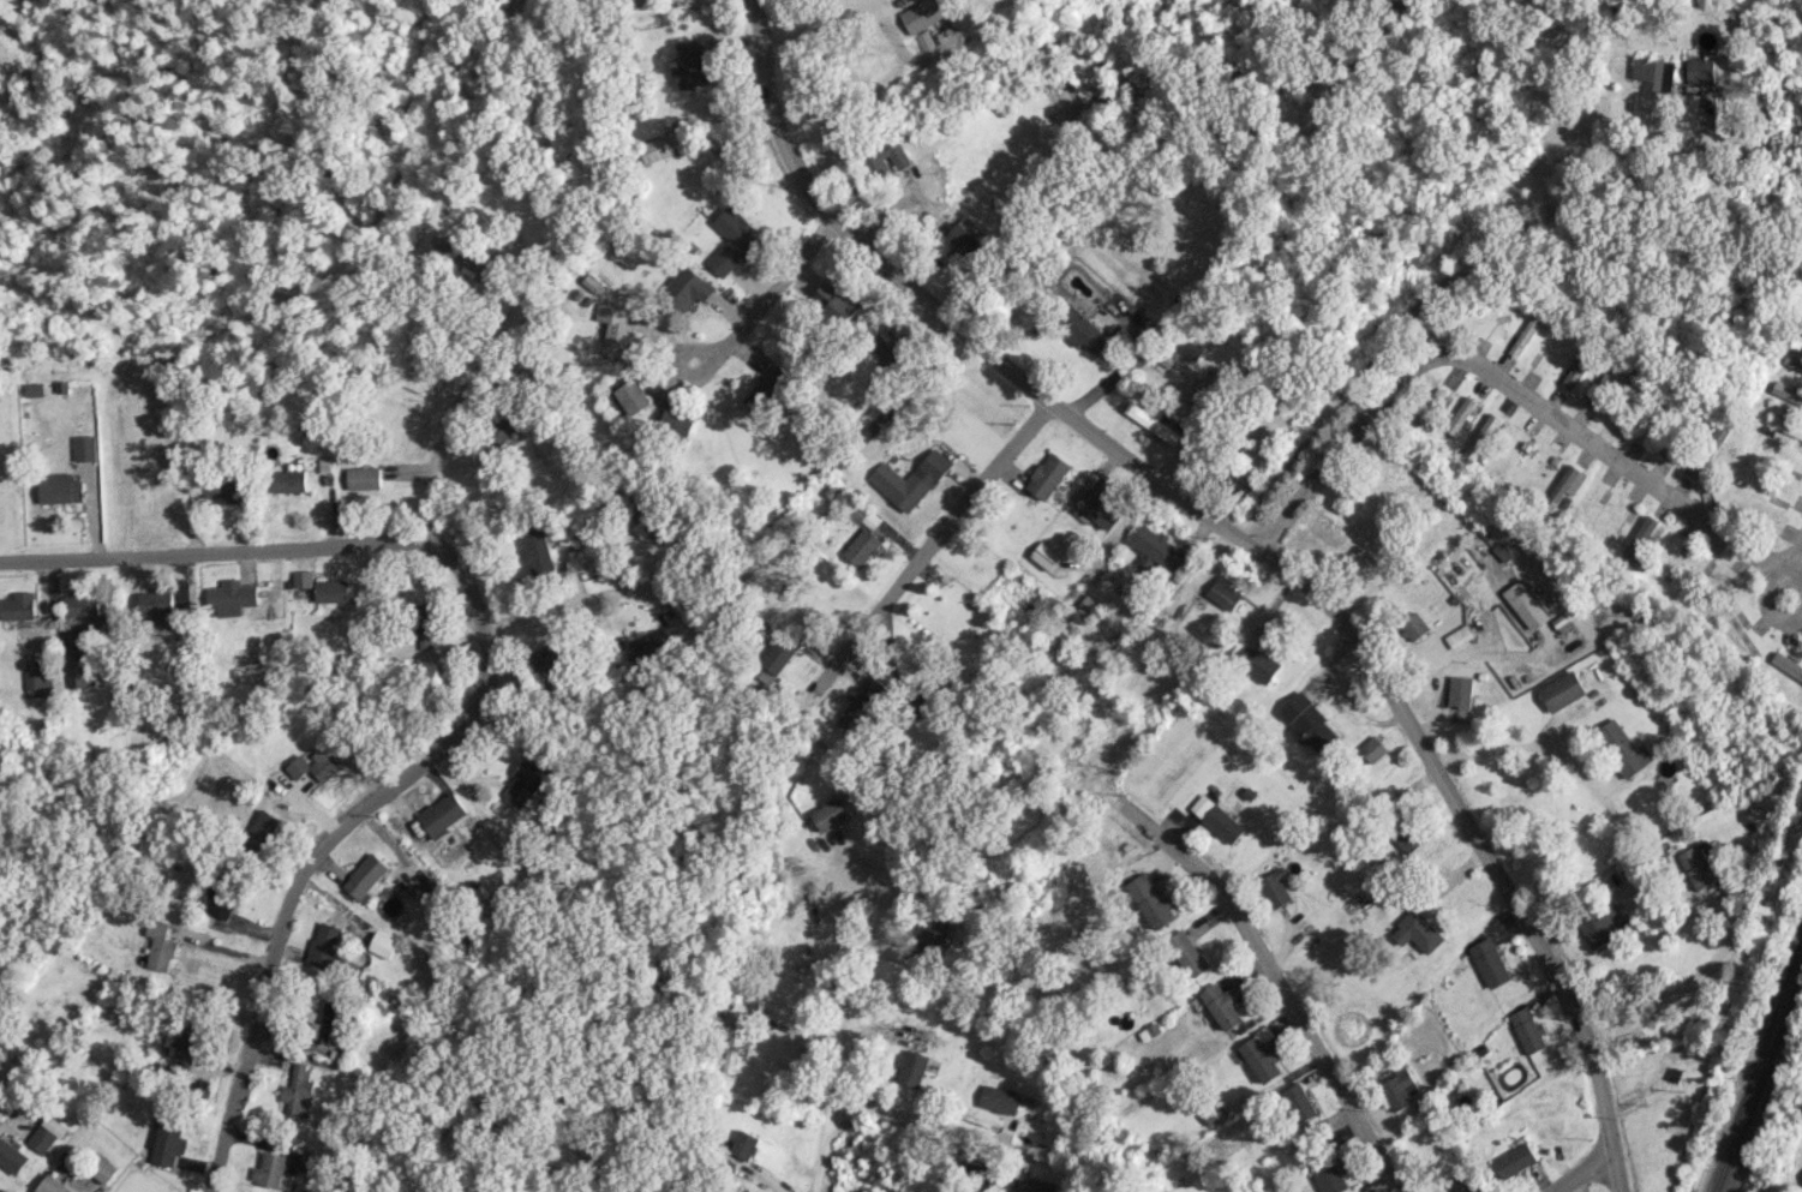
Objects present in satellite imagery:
building: (922, 14)
building: (923, 38)
building: (693, 65)
building: (1700, 71)
building: (1653, 73)
building: (886, 158)
building: (731, 240)
building: (963, 240)
building: (459, 257)
road: (1450, 278)
building: (688, 288)
building: (833, 301)
road: (728, 304)
building: (1078, 328)
building: (615, 329)
building: (1527, 333)
building: (885, 343)
building: (1792, 360)
road: (1120, 367)
building: (1579, 367)
building: (414, 378)
road: (1501, 379)
building: (1604, 385)
building: (34, 389)
building: (767, 390)
building: (1786, 393)
building: (631, 397)
building: (1430, 405)
road: (448, 409)
building: (1459, 415)
building: (1150, 419)
building: (677, 421)
building: (1784, 425)
building: (503, 429)
building: (1480, 436)
building: (84, 447)
building: (1047, 475)
building: (365, 478)
building: (910, 479)
building: (289, 480)
building: (1235, 484)
building: (1563, 485)
building: (59, 487)
building: (228, 489)
building: (1100, 507)
building: (646, 520)
road: (941, 540)
building: (1640, 541)
road: (1246, 543)
building: (863, 546)
building: (1159, 547)
building: (538, 550)
building: (1043, 555)
road: (1792, 555)
road: (1764, 588)
building: (333, 589)
building: (1226, 593)
building: (232, 597)
road: (588, 599)
building: (1525, 604)
building: (18, 605)
building: (83, 606)
building: (157, 610)
building: (424, 624)
building: (1414, 625)
building: (1459, 635)
building: (653, 643)
building: (778, 655)
building: (553, 657)
building: (1256, 661)
building: (1786, 665)
building: (76, 673)
building: (37, 682)
road: (483, 689)
building: (1562, 690)
building: (1460, 691)
building: (861, 705)
building: (1311, 724)
road: (1521, 744)
building: (1371, 748)
building: (1623, 748)
building: (316, 765)
building: (528, 779)
building: (831, 813)
building: (443, 814)
building: (1216, 817)
building: (262, 827)
building: (1406, 835)
building: (1701, 864)
building: (366, 876)
building: (1275, 886)
road: (448, 900)
building: (1151, 902)
building: (223, 903)
building: (1603, 926)
building: (1417, 930)
building: (934, 933)
building: (324, 944)
building: (383, 944)
building: (158, 945)
building: (1187, 953)
building: (1489, 962)
road: (1276, 977)
road: (1682, 987)
building: (1223, 1002)
building: (324, 1016)
building: (1528, 1030)
building: (736, 1038)
road: (845, 1041)
building: (187, 1043)
building: (1262, 1054)
building: (911, 1067)
railway: (1758, 1068)
building: (1400, 1088)
building: (298, 1090)
building: (999, 1098)
building: (1297, 1102)
road: (920, 1127)
building: (46, 1133)
building: (164, 1139)
building: (743, 1145)
building: (12, 1156)
building: (1514, 1160)
building: (103, 1169)
building: (269, 1169)
road: (1581, 1169)
building: (1330, 1176)
building: (53, 1185)
building: (1032, 1185)
building: (1471, 1188)

